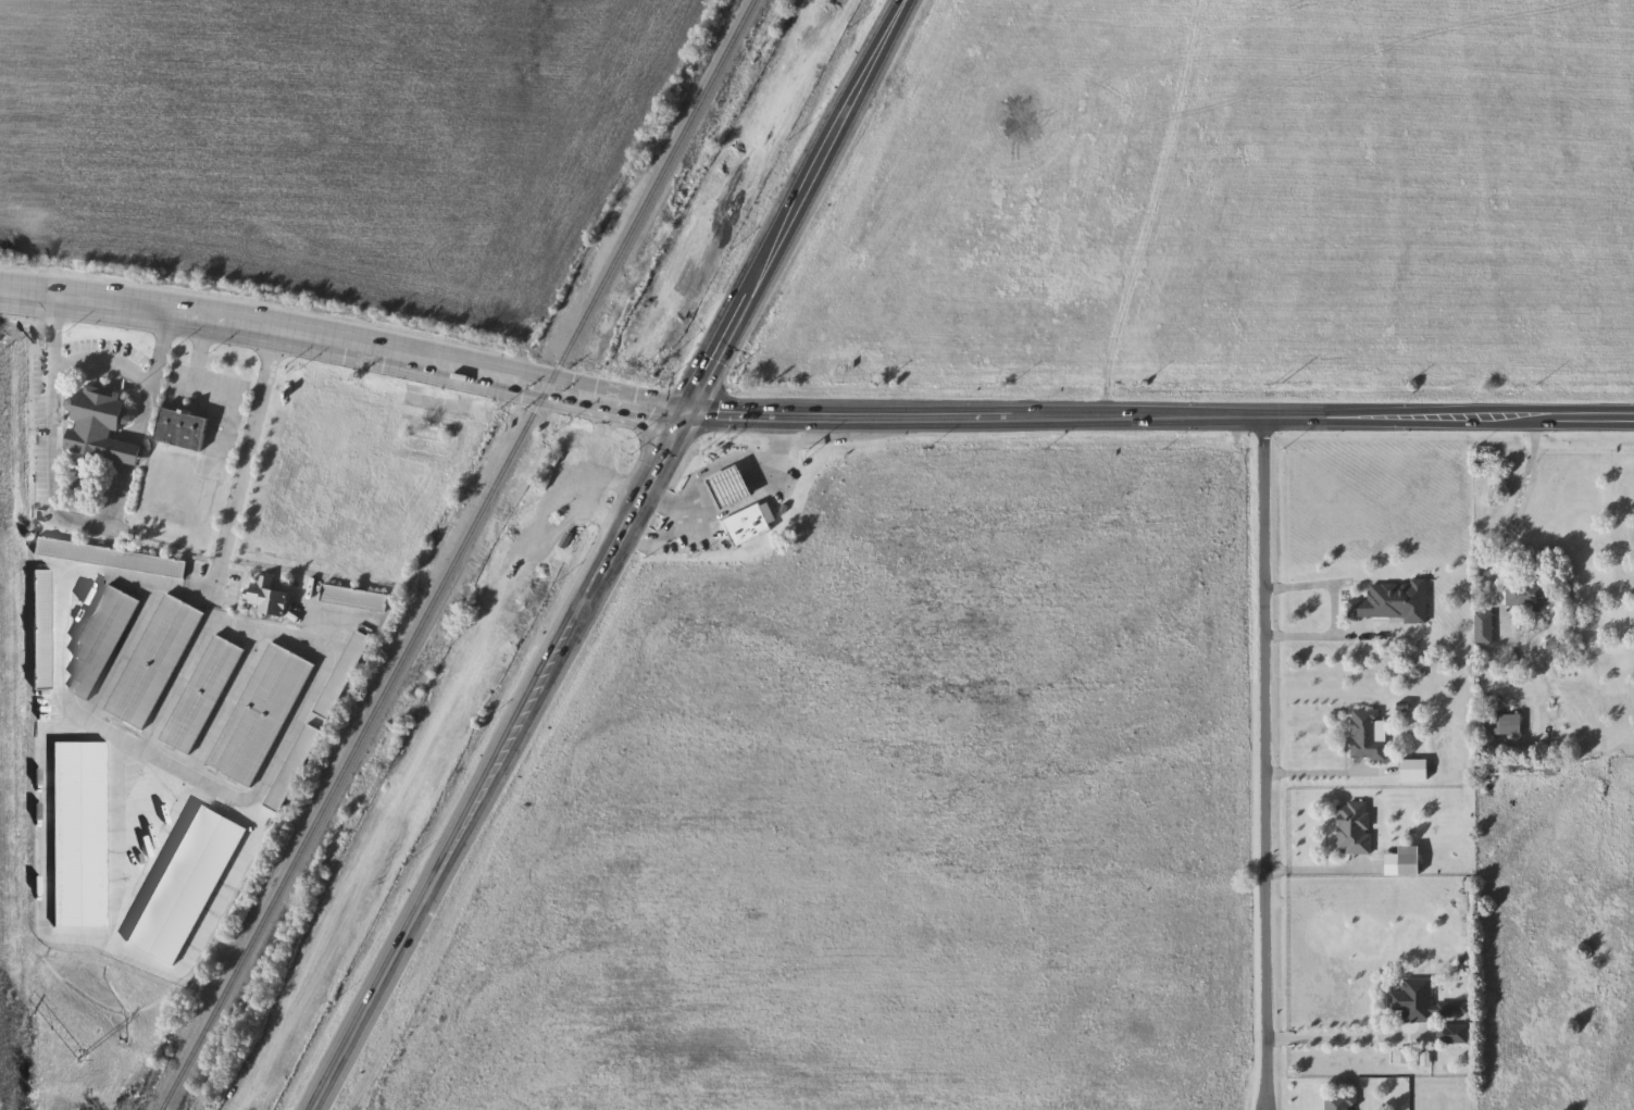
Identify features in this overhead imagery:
road: (346, 344)
road: (199, 351)
road: (104, 360)
traffic signals: (689, 416)
road: (1161, 417)
building: (102, 426)
building: (182, 429)
road: (249, 445)
road: (718, 463)
road: (761, 476)
building: (732, 487)
road: (731, 488)
road: (697, 500)
road: (740, 506)
road: (80, 508)
road: (672, 516)
road: (1512, 516)
building: (747, 525)
gas station: (747, 525)
road: (654, 540)
railway: (461, 554)
railway: (540, 554)
road: (613, 554)
building: (111, 557)
road: (1321, 585)
road: (213, 589)
building: (1533, 595)
building: (269, 597)
building: (354, 598)
road: (213, 599)
building: (1393, 602)
building: (40, 628)
building: (1484, 628)
building: (102, 637)
road: (1320, 637)
building: (153, 661)
building: (342, 674)
road: (177, 684)
building: (200, 694)
road: (225, 702)
building: (259, 713)
building: (1501, 724)
building: (1367, 736)
road: (169, 762)
road: (1263, 763)
road: (1325, 765)
building: (294, 768)
building: (1355, 827)
building: (79, 832)
building: (1410, 860)
road: (1322, 869)
building: (185, 884)
building: (1415, 1000)
road: (1337, 1037)
power tower: (85, 1057)
building: (1342, 1101)

